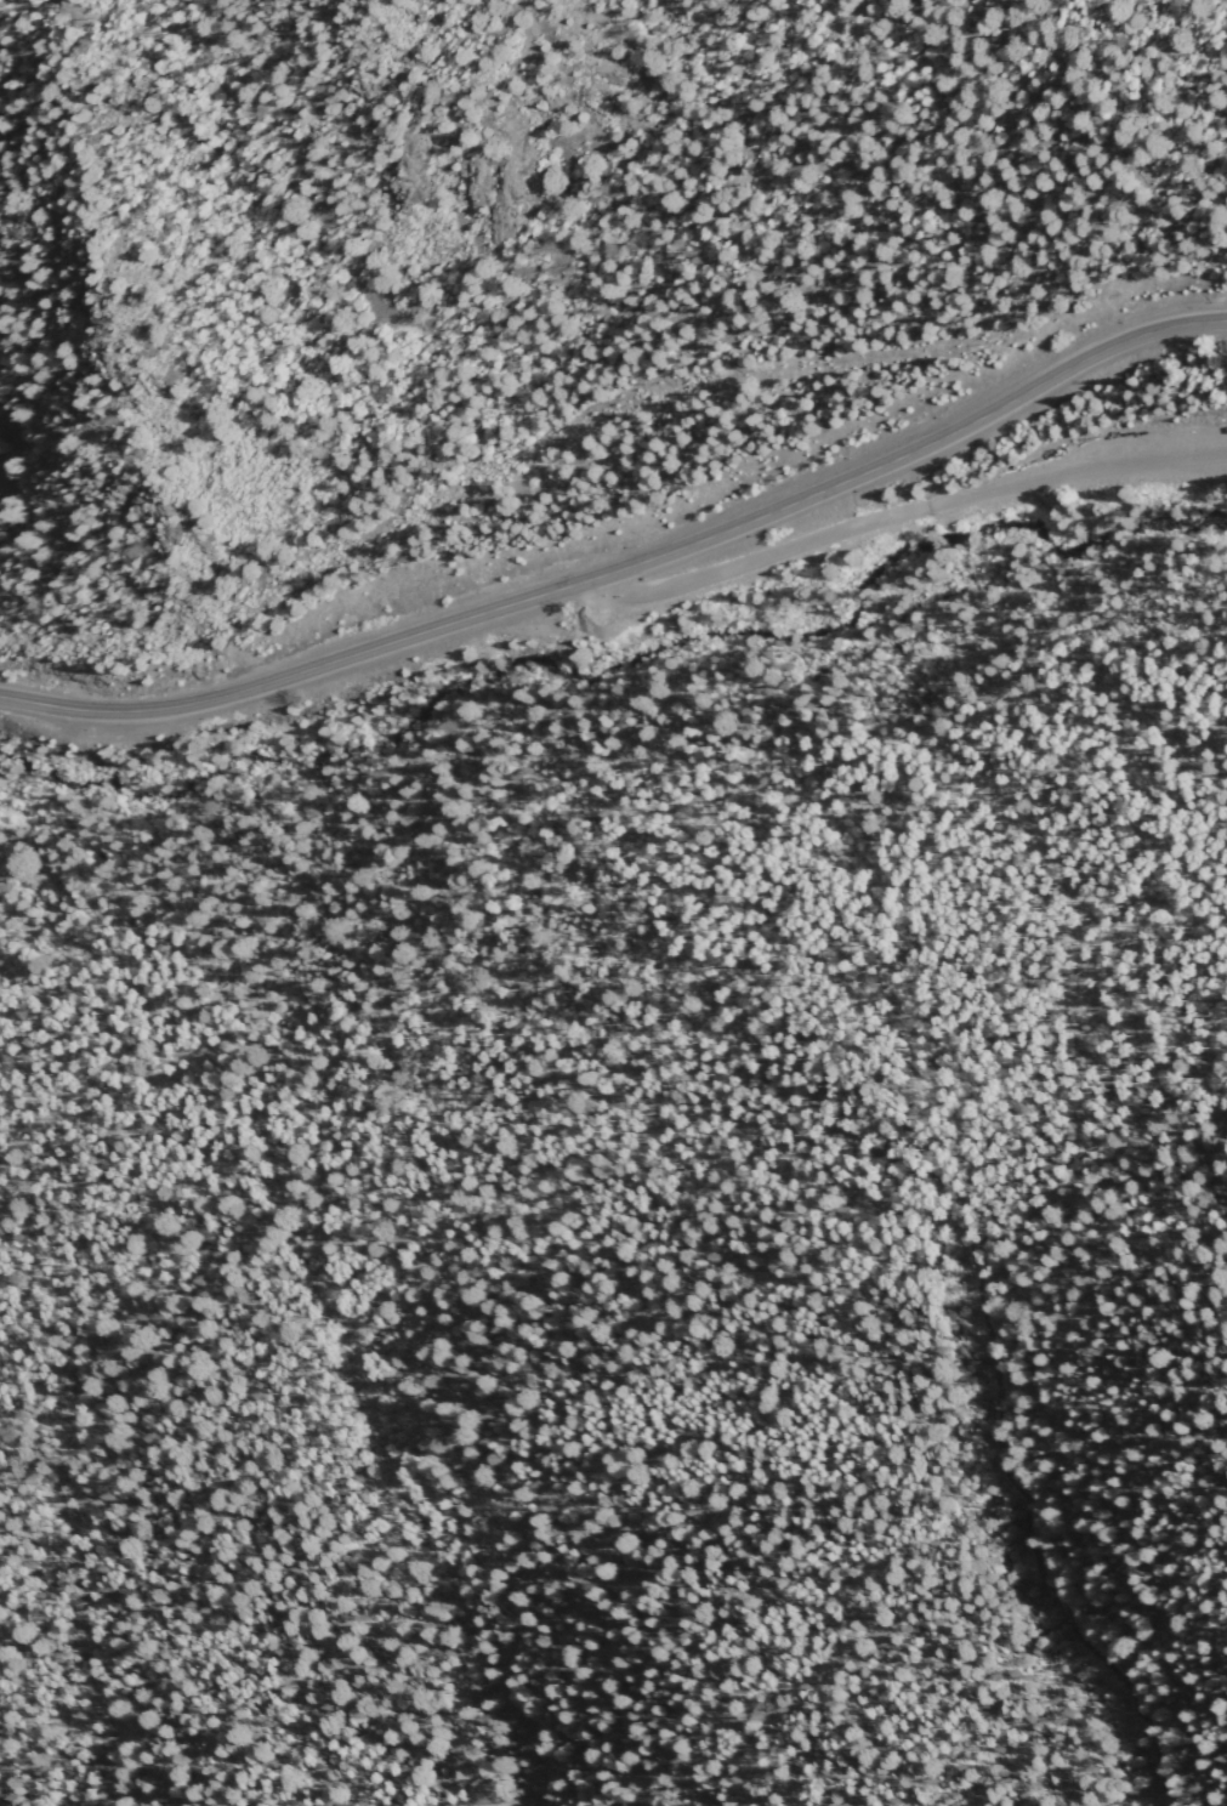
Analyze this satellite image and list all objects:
road: (903, 518)
road: (629, 566)

